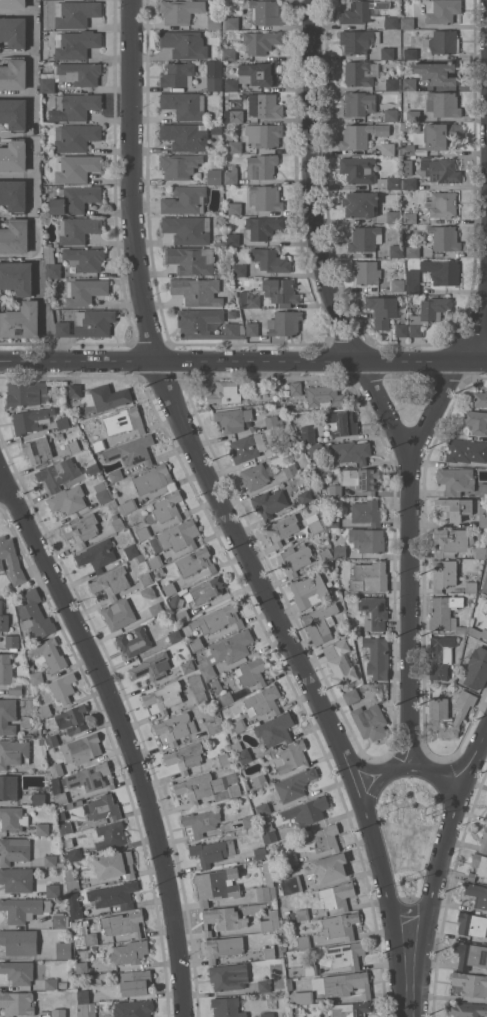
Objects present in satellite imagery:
building: (13, 3)
building: (180, 10)
building: (442, 10)
road: (17, 11)
building: (359, 11)
building: (265, 12)
building: (76, 13)
building: (214, 21)
building: (231, 22)
building: (391, 22)
building: (408, 22)
building: (14, 32)
building: (358, 40)
building: (442, 41)
building: (260, 42)
building: (76, 43)
building: (185, 43)
building: (229, 53)
building: (387, 53)
building: (410, 53)
building: (360, 72)
building: (437, 72)
building: (259, 73)
building: (13, 74)
building: (178, 74)
building: (71, 75)
building: (214, 80)
building: (230, 84)
building: (392, 84)
building: (409, 84)
building: (359, 103)
building: (443, 104)
building: (73, 105)
building: (184, 105)
building: (264, 105)
building: (14, 113)
building: (391, 114)
building: (234, 115)
building: (413, 115)
building: (406, 126)
building: (416, 127)
building: (216, 128)
building: (361, 134)
building: (441, 135)
building: (76, 136)
building: (186, 136)
building: (258, 136)
road: (34, 145)
building: (388, 149)
building: (408, 149)
building: (14, 155)
building: (179, 165)
building: (261, 165)
building: (76, 167)
building: (407, 167)
building: (357, 169)
building: (440, 169)
building: (231, 173)
building: (215, 176)
building: (389, 182)
building: (409, 183)
building: (13, 194)
building: (266, 197)
building: (74, 198)
building: (185, 199)
building: (360, 204)
building: (442, 204)
building: (235, 208)
building: (393, 216)
building: (410, 217)
building: (261, 227)
building: (78, 228)
building: (188, 228)
building: (14, 236)
road: (317, 237)
building: (444, 237)
building: (233, 238)
building: (365, 238)
building: (396, 250)
building: (413, 251)
building: (84, 258)
building: (191, 259)
building: (270, 259)
building: (53, 269)
building: (240, 269)
building: (366, 271)
building: (442, 271)
building: (17, 277)
building: (413, 281)
building: (398, 285)
building: (197, 290)
building: (85, 291)
building: (281, 291)
building: (249, 299)
road: (45, 312)
building: (386, 313)
building: (429, 313)
building: (20, 320)
building: (88, 323)
building: (285, 323)
building: (207, 324)
building: (252, 328)
road: (243, 363)
building: (261, 387)
building: (296, 388)
building: (225, 392)
building: (26, 393)
building: (75, 393)
building: (109, 396)
building: (325, 396)
building: (480, 398)
road: (183, 417)
building: (31, 419)
building: (233, 419)
building: (125, 420)
building: (272, 421)
building: (476, 421)
building: (63, 422)
building: (342, 422)
building: (308, 433)
building: (99, 444)
building: (285, 444)
building: (73, 446)
building: (247, 447)
building: (38, 449)
building: (315, 449)
building: (132, 450)
building: (466, 450)
building: (352, 451)
building: (92, 468)
building: (291, 470)
building: (58, 473)
building: (116, 474)
building: (256, 475)
building: (154, 478)
building: (357, 480)
building: (456, 480)
building: (483, 489)
building: (102, 492)
building: (305, 496)
building: (68, 499)
building: (269, 503)
building: (130, 505)
building: (168, 506)
building: (453, 508)
road: (409, 511)
building: (366, 512)
building: (483, 516)
building: (333, 521)
building: (116, 522)
building: (315, 525)
building: (81, 528)
building: (282, 529)
building: (144, 532)
building: (180, 535)
building: (367, 539)
building: (450, 541)
building: (131, 550)
building: (340, 551)
building: (481, 552)
building: (97, 554)
building: (325, 555)
building: (140, 557)
building: (294, 558)
building: (11, 559)
building: (155, 560)
building: (195, 561)
building: (332, 567)
building: (159, 572)
building: (443, 573)
building: (370, 576)
building: (146, 578)
building: (111, 582)
building: (471, 586)
building: (170, 588)
building: (206, 589)
building: (309, 590)
building: (148, 591)
building: (176, 601)
building: (485, 607)
building: (156, 608)
building: (375, 610)
building: (446, 613)
building: (118, 614)
building: (35, 615)
building: (183, 615)
building: (3, 618)
building: (219, 618)
building: (320, 622)
building: (478, 632)
building: (175, 635)
building: (12, 641)
building: (134, 641)
building: (196, 643)
building: (226, 651)
building: (466, 652)
building: (51, 653)
building: (440, 656)
building: (377, 657)
building: (340, 663)
building: (152, 665)
building: (187, 666)
building: (477, 668)
building: (252, 672)
building: (8, 674)
building: (454, 675)
building: (37, 677)
building: (217, 685)
building: (63, 687)
building: (197, 688)
building: (351, 695)
building: (164, 696)
building: (225, 697)
building: (263, 701)
building: (44, 710)
building: (438, 713)
building: (7, 715)
building: (73, 718)
building: (370, 721)
building: (239, 724)
building: (176, 726)
building: (215, 726)
building: (275, 728)
building: (52, 740)
road: (125, 740)
road: (481, 741)
building: (85, 747)
building: (14, 752)
building: (242, 752)
building: (185, 756)
building: (292, 756)
road: (411, 756)
building: (224, 758)
road: (399, 758)
road: (363, 767)
road: (458, 768)
building: (57, 769)
road: (413, 770)
building: (91, 777)
building: (232, 777)
building: (260, 780)
building: (294, 785)
building: (200, 786)
building: (9, 787)
building: (58, 791)
building: (228, 791)
building: (39, 797)
building: (51, 800)
building: (102, 807)
building: (263, 808)
building: (307, 810)
building: (486, 816)
building: (12, 818)
building: (249, 820)
building: (202, 821)
building: (66, 827)
building: (42, 828)
building: (268, 832)
building: (110, 834)
building: (323, 838)
building: (483, 841)
building: (14, 849)
building: (212, 851)
building: (260, 852)
building: (74, 854)
building: (291, 858)
road: (440, 859)
building: (51, 860)
building: (115, 864)
building: (478, 865)
building: (329, 867)
building: (17, 879)
building: (71, 880)
building: (294, 883)
building: (266, 884)
building: (217, 885)
road: (385, 885)
building: (53, 890)
building: (477, 894)
building: (114, 895)
building: (337, 895)
building: (75, 906)
building: (24, 908)
road: (408, 909)
building: (302, 914)
building: (60, 919)
building: (222, 919)
building: (270, 921)
building: (123, 923)
building: (472, 924)
building: (341, 925)
building: (83, 933)
building: (19, 941)
building: (304, 941)
building: (84, 947)
building: (224, 947)
building: (78, 948)
building: (64, 949)
building: (130, 951)
building: (269, 952)
building: (346, 954)
building: (470, 955)
building: (63, 968)
building: (82, 968)
building: (310, 969)
building: (18, 971)
building: (229, 976)
building: (137, 982)
building: (51, 983)
building: (290, 983)
building: (342, 983)
building: (470, 983)
building: (264, 985)
building: (83, 989)
road: (407, 992)
building: (304, 997)
building: (18, 1003)
building: (227, 1007)
building: (133, 1008)
building: (86, 1009)
building: (350, 1009)
building: (467, 1009)
building: (59, 1012)
building: (267, 1014)

